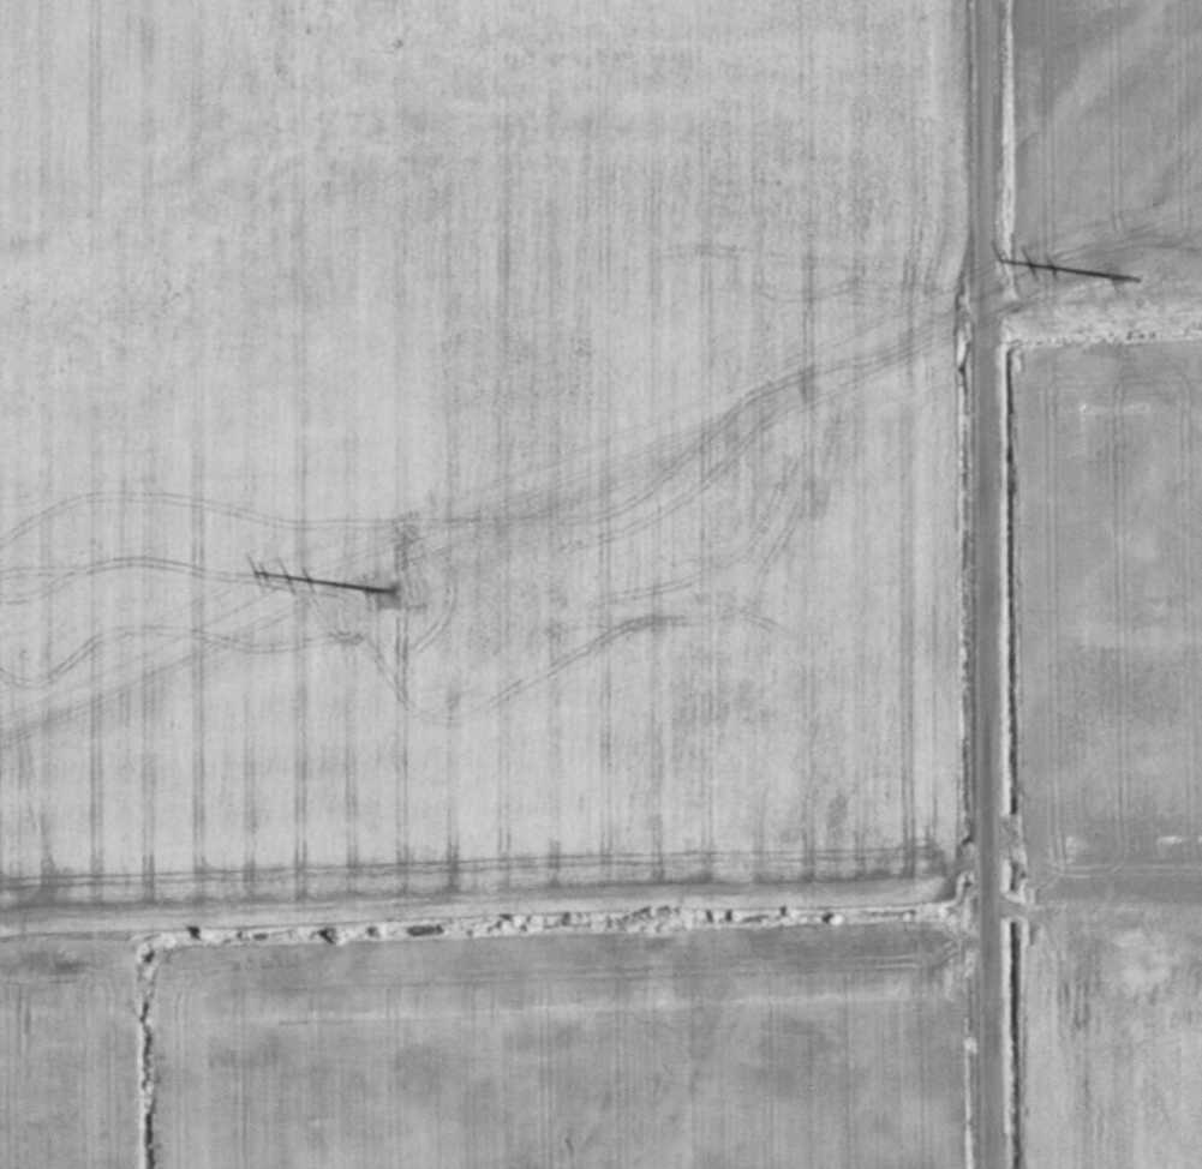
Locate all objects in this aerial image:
power tower: (1143, 280)
road: (993, 584)
power tower: (402, 592)

